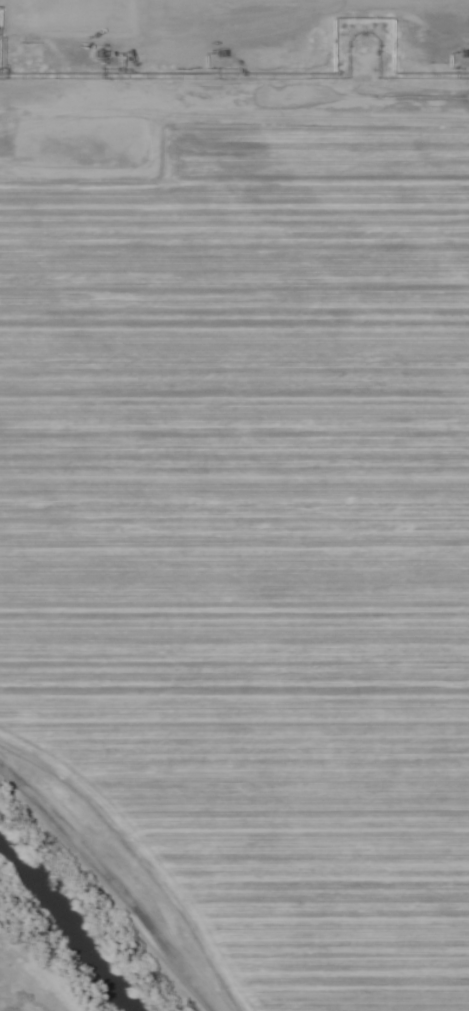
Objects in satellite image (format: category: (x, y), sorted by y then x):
road: (113, 880)
river: (76, 926)

